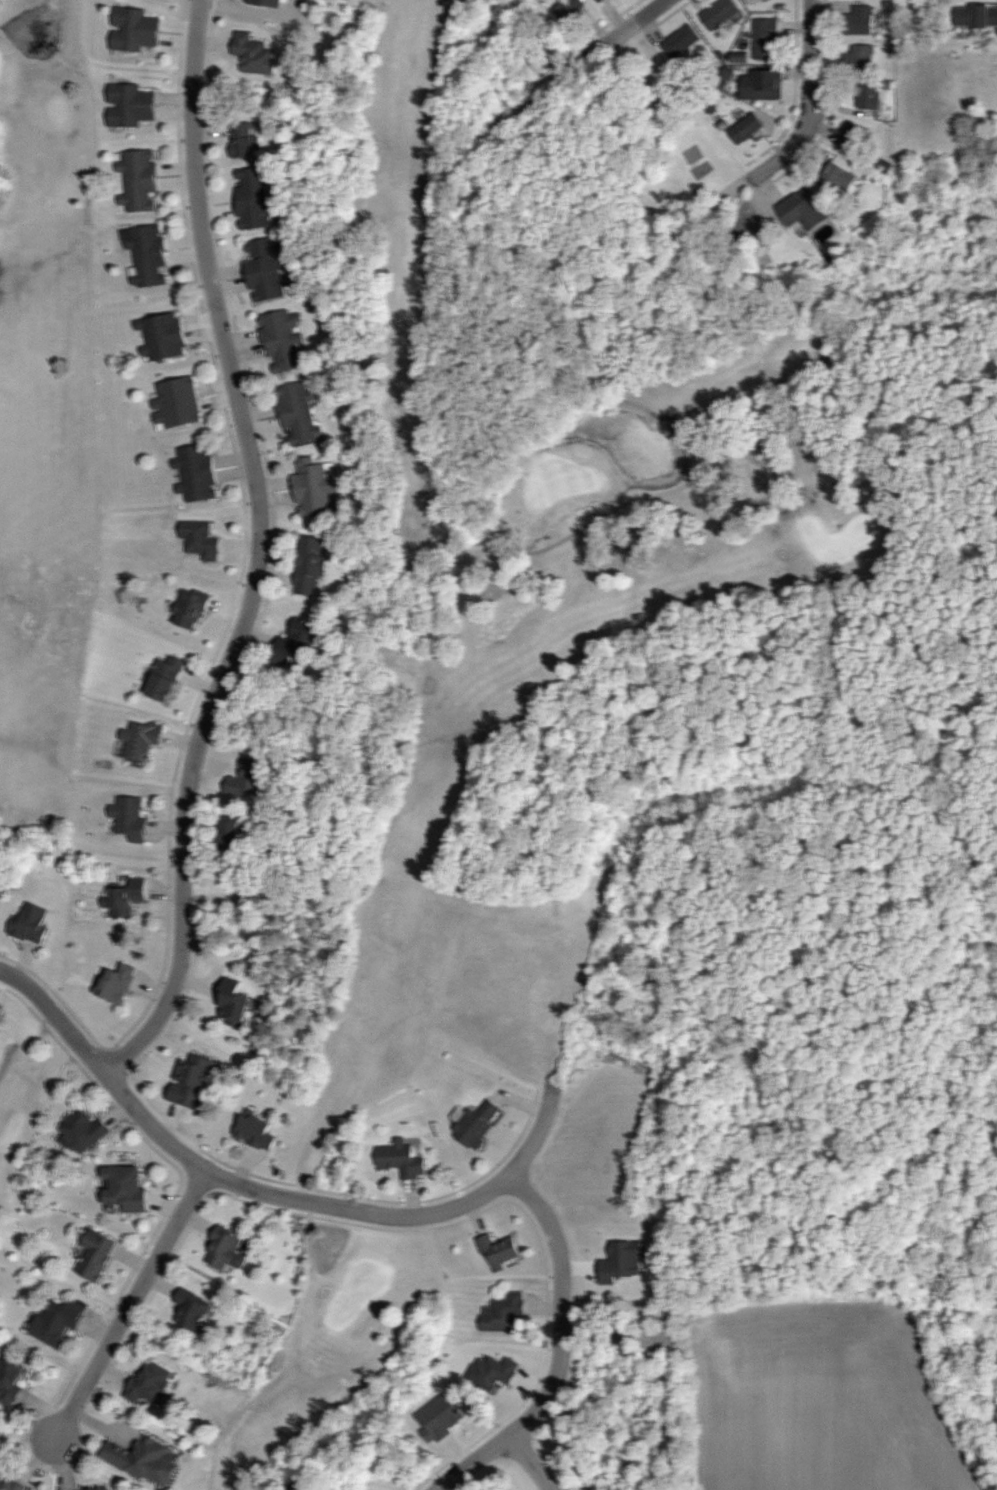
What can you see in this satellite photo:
building: (600, 0)
building: (755, 0)
building: (568, 9)
building: (720, 13)
building: (976, 18)
building: (859, 21)
building: (136, 30)
building: (767, 39)
building: (681, 41)
building: (255, 53)
building: (861, 60)
road: (573, 66)
building: (763, 85)
building: (871, 97)
building: (131, 106)
road: (810, 106)
building: (747, 129)
building: (855, 138)
building: (245, 141)
building: (845, 171)
building: (140, 182)
building: (255, 197)
building: (804, 209)
building: (148, 256)
building: (268, 269)
building: (163, 338)
building: (285, 341)
building: (178, 405)
building: (301, 414)
building: (197, 473)
building: (312, 486)
park: (50, 512)
building: (201, 539)
road: (261, 550)
building: (312, 565)
building: (191, 608)
building: (300, 642)
building: (166, 677)
park: (512, 682)
building: (142, 741)
building: (248, 780)
building: (132, 817)
building: (125, 899)
building: (33, 921)
building: (118, 983)
building: (236, 1003)
building: (193, 1082)
building: (478, 1124)
building: (257, 1131)
building: (80, 1132)
building: (402, 1159)
building: (126, 1190)
road: (461, 1206)
building: (501, 1251)
building: (226, 1252)
building: (97, 1255)
road: (130, 1306)
building: (193, 1311)
building: (505, 1313)
building: (59, 1318)
road: (563, 1352)
building: (493, 1372)
building: (11, 1382)
building: (150, 1383)
building: (146, 1460)
road: (530, 1463)
building: (12, 1485)
building: (102, 1487)

